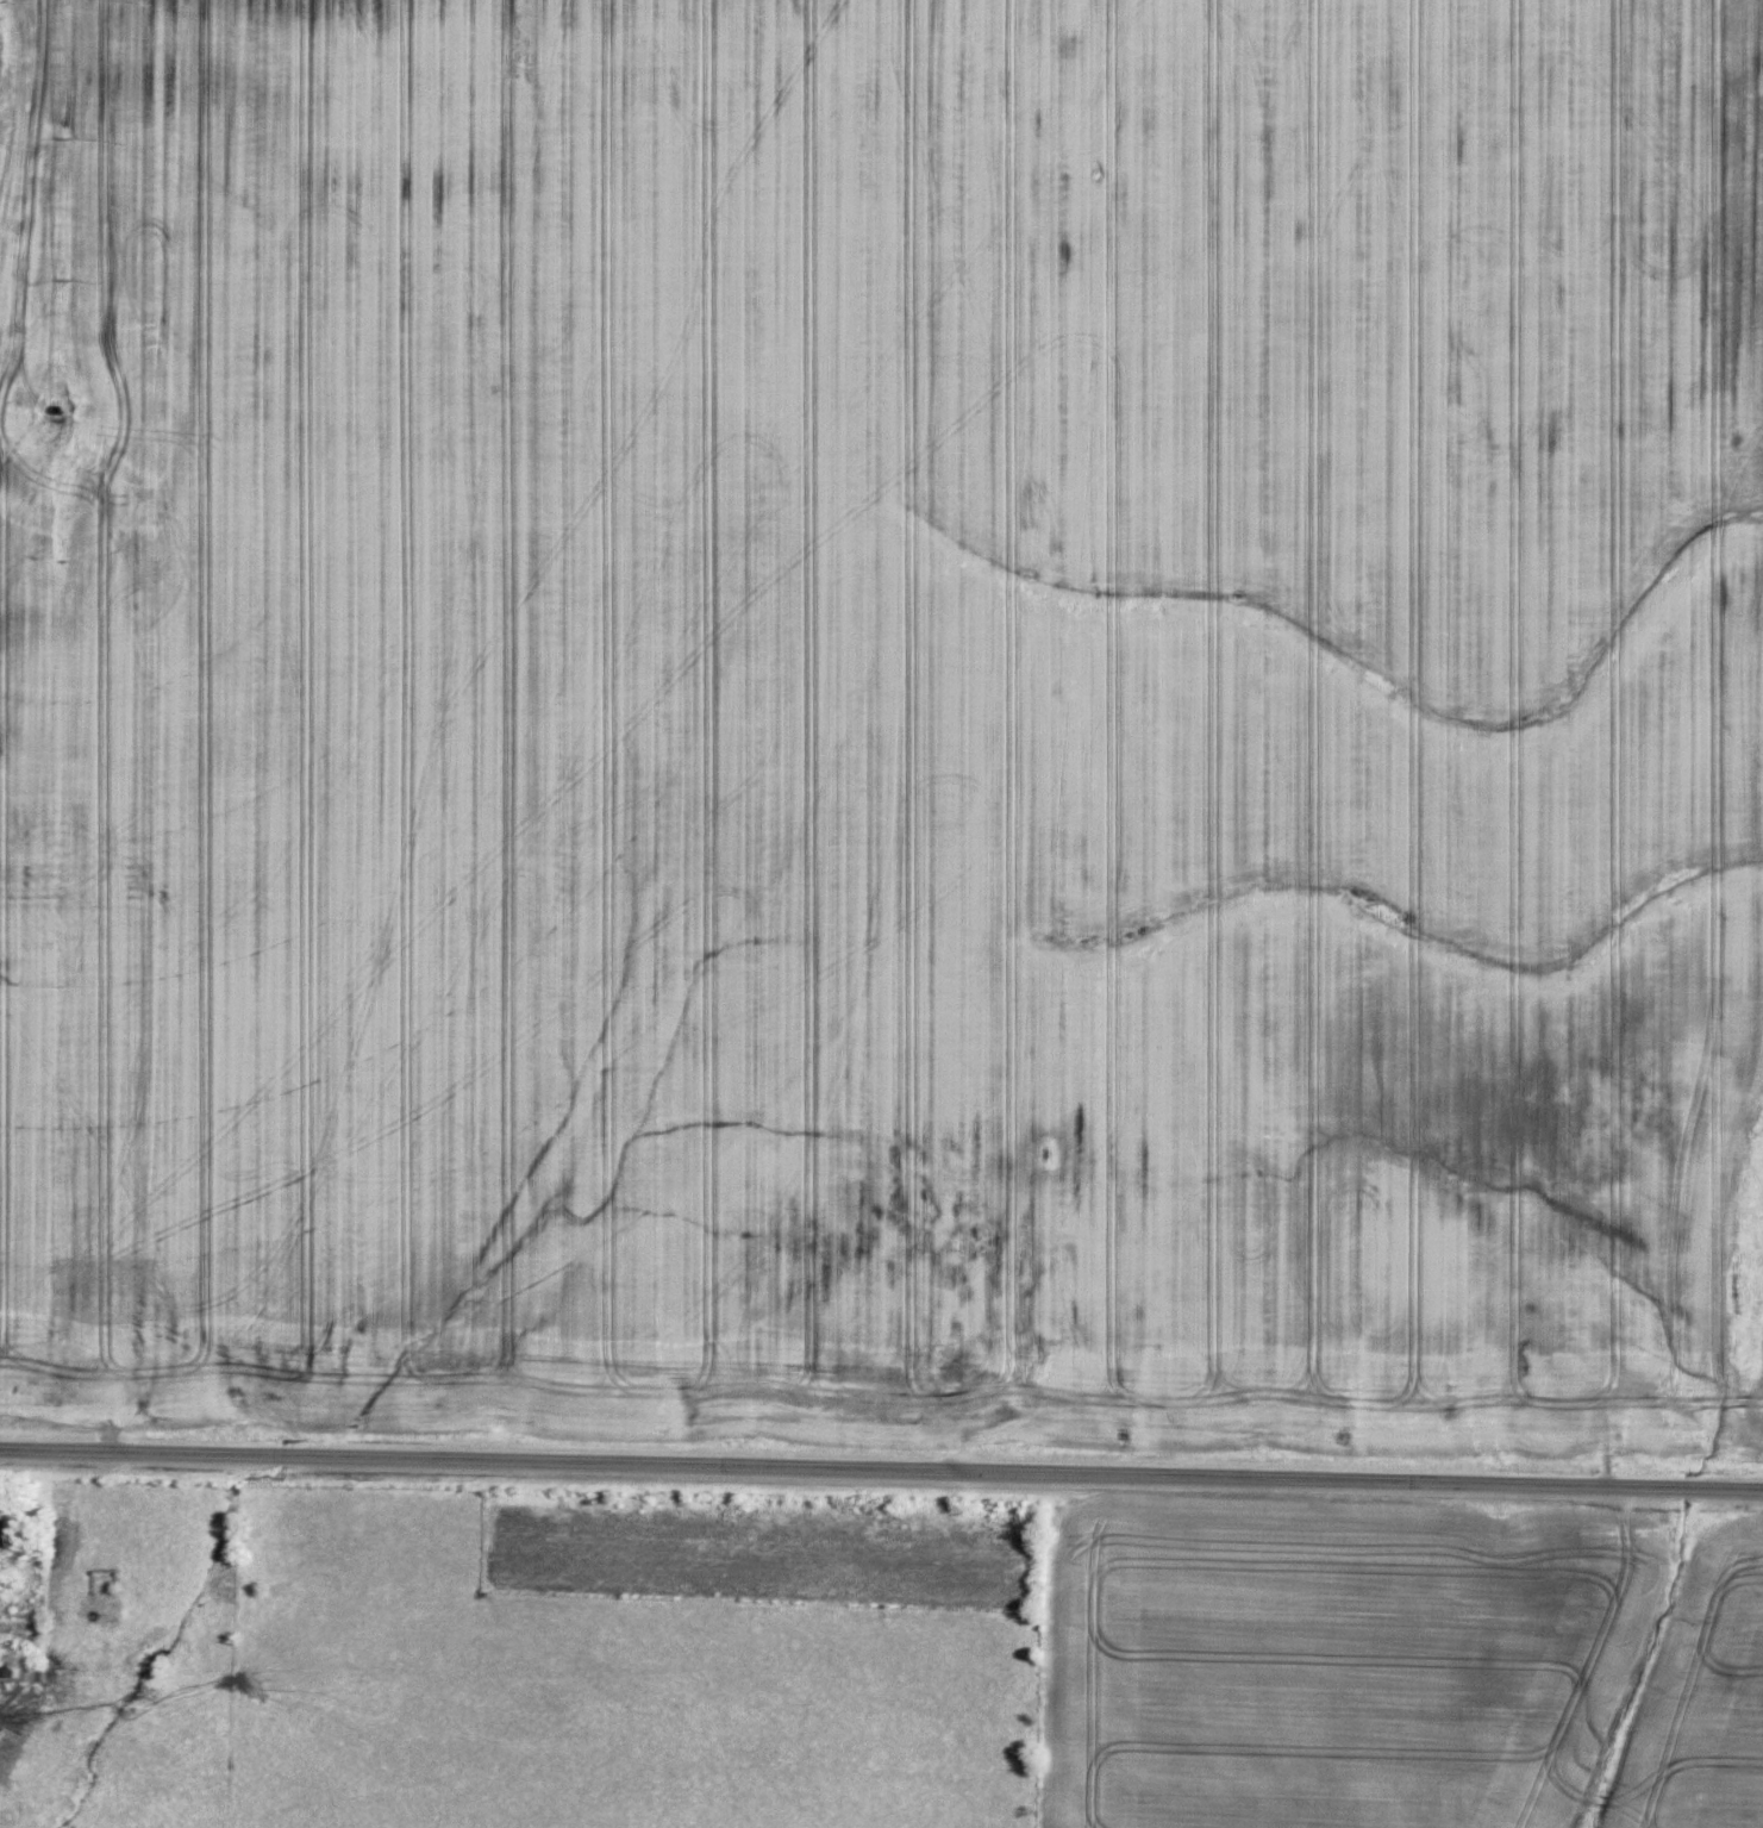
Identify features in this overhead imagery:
road: (881, 1470)

